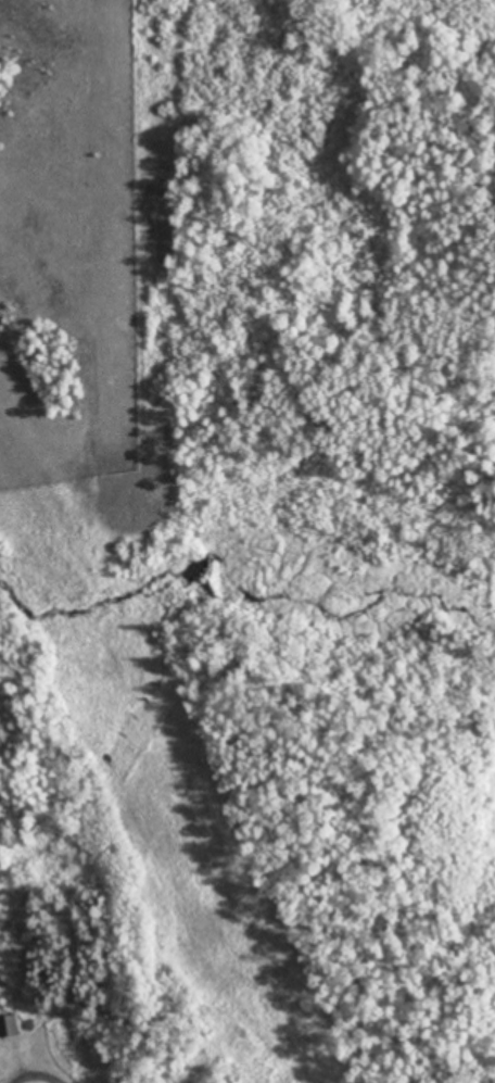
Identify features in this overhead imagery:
building: (8, 1027)

